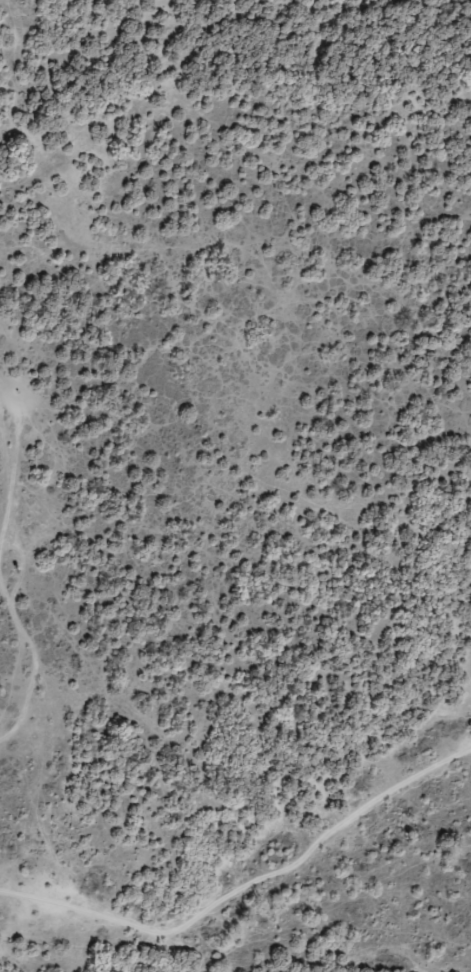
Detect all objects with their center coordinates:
road: (263, 895)

